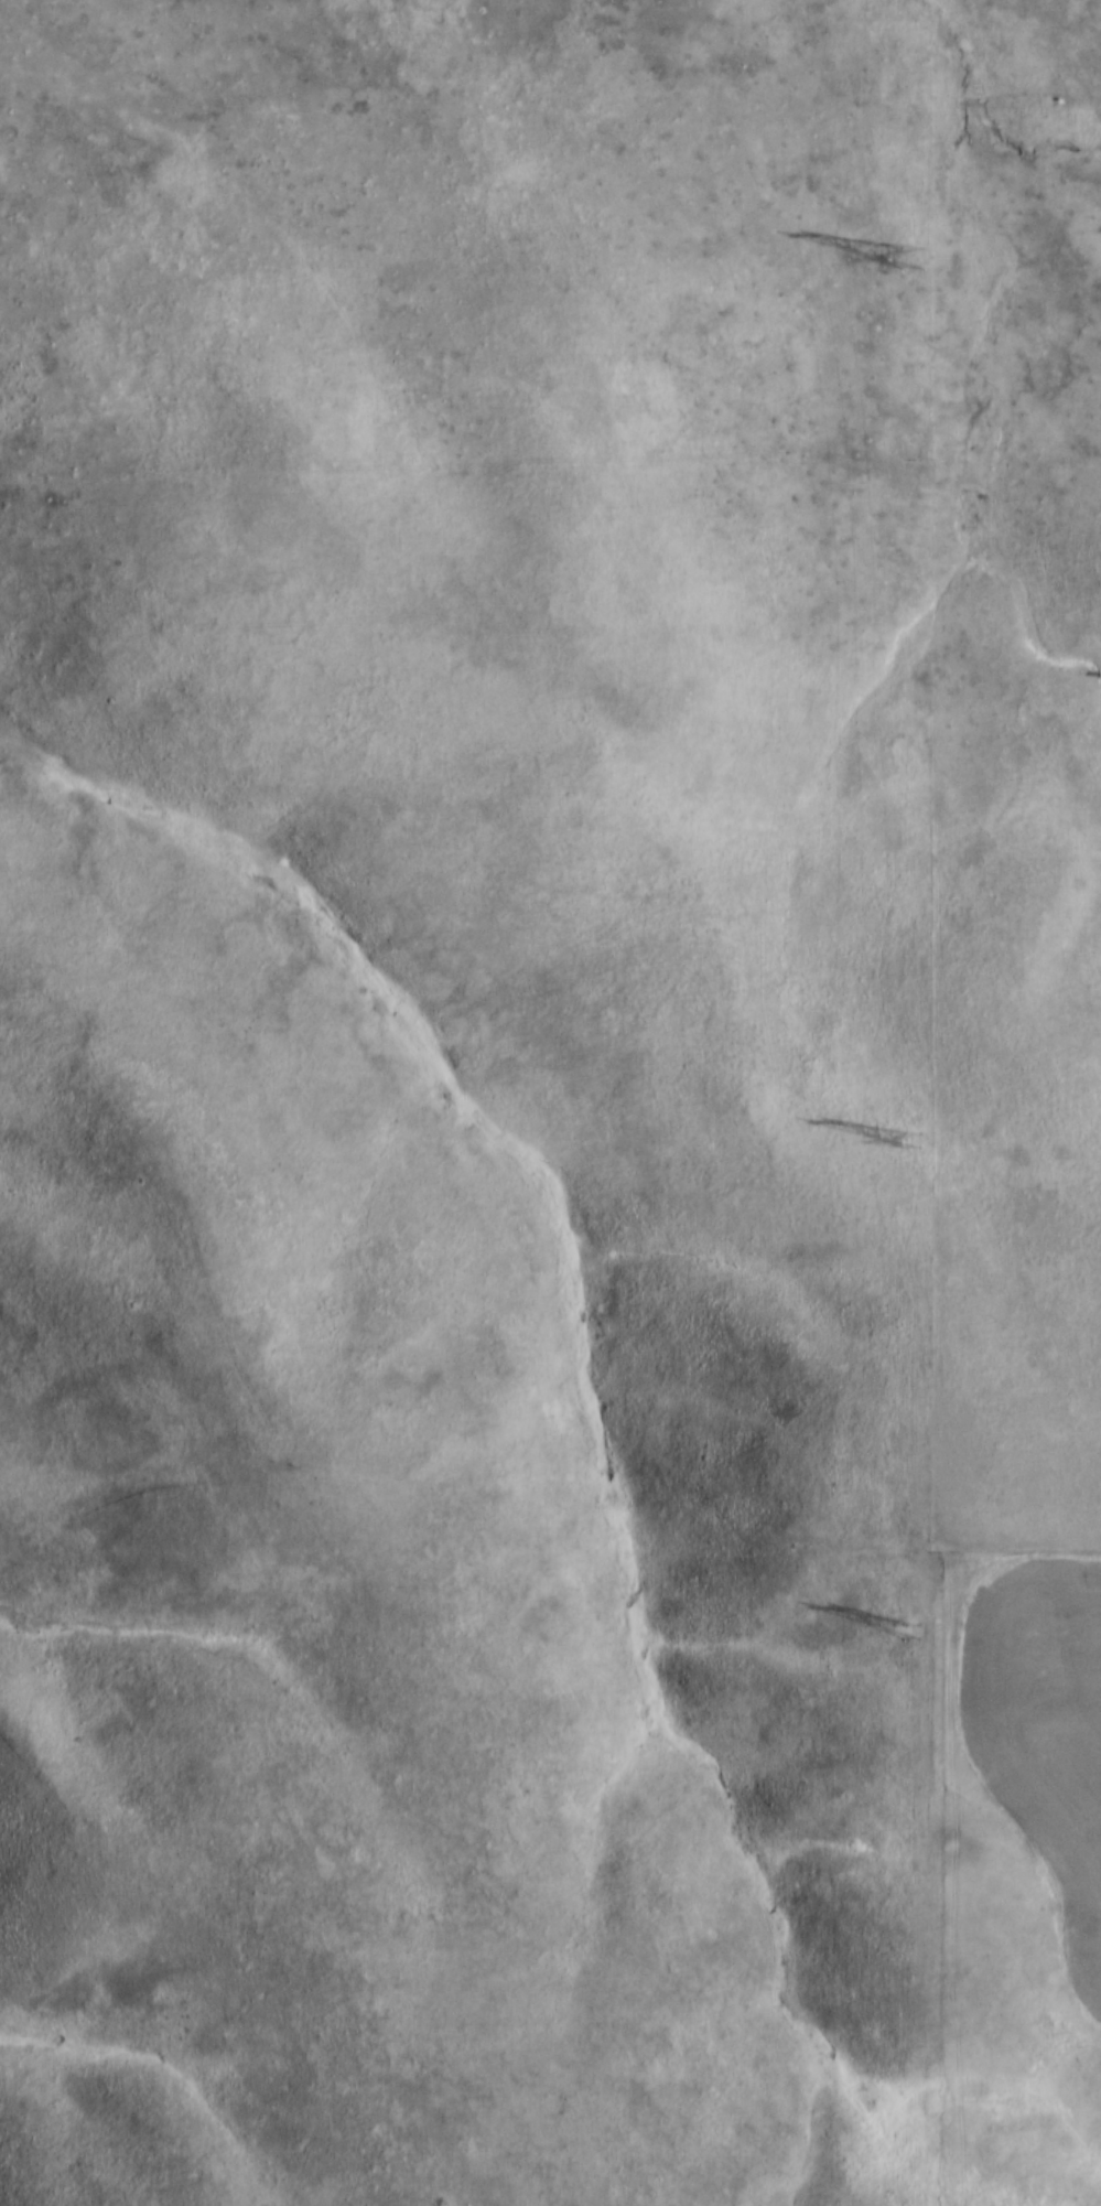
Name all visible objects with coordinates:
power tower: (910, 259)
power tower: (900, 1141)
power tower: (903, 1634)

